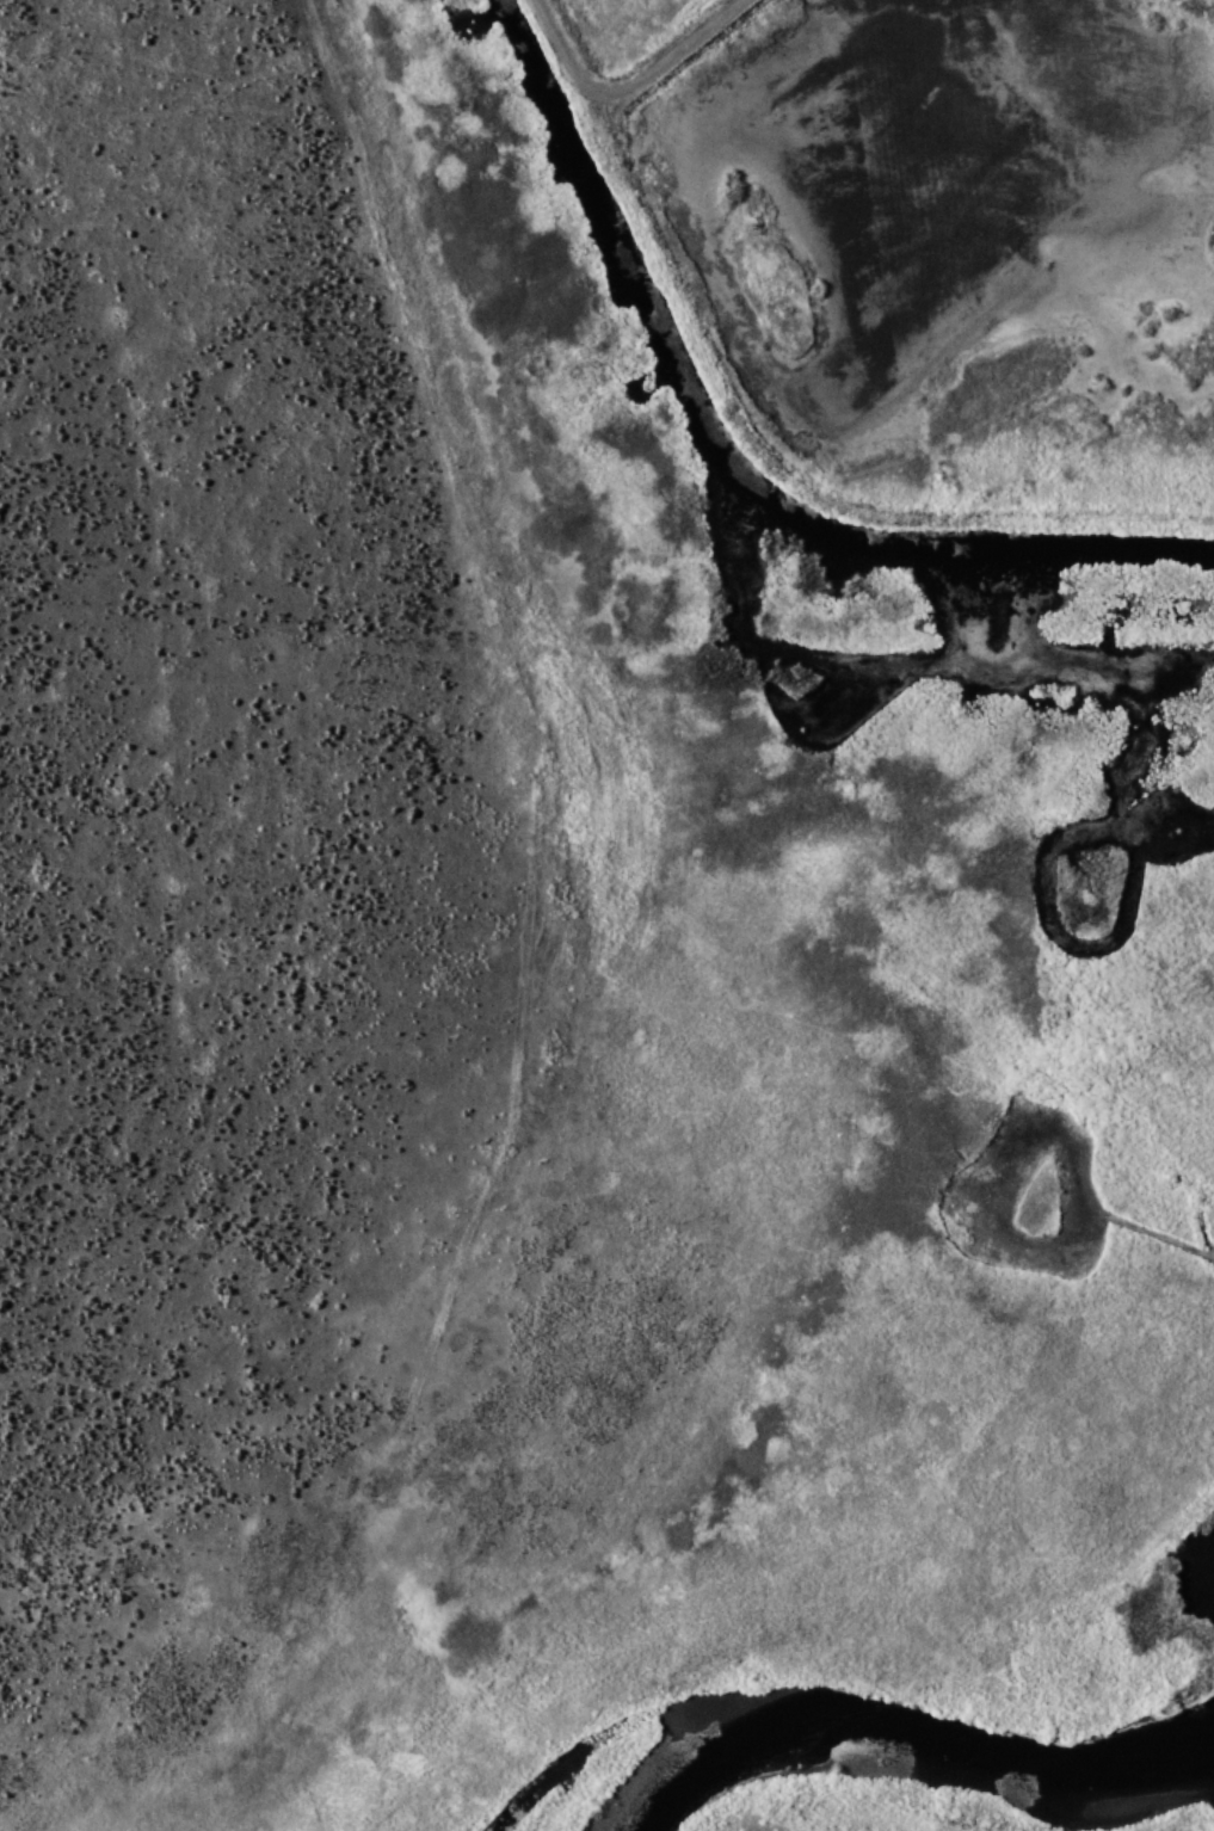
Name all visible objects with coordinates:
river: (911, 1758)

